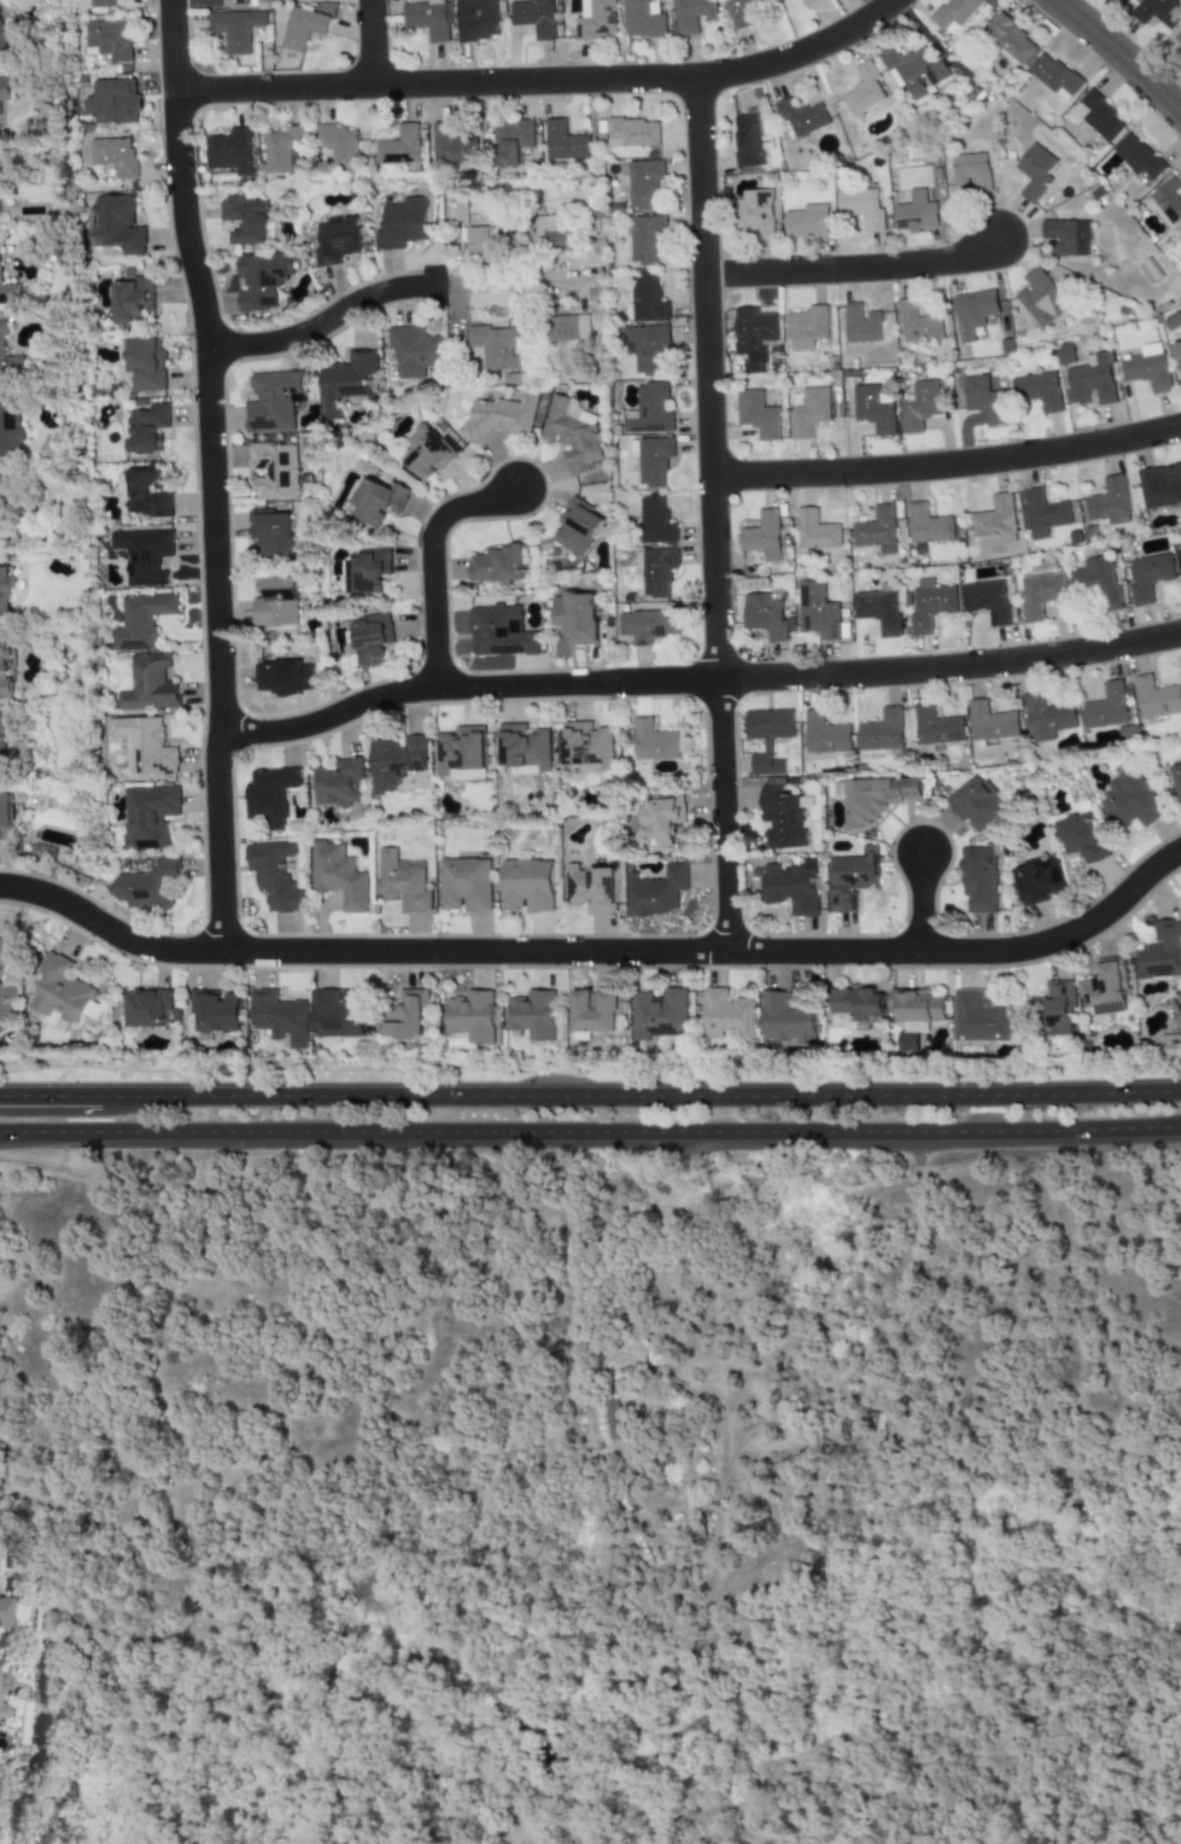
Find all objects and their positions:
building: (779, 0)
building: (233, 2)
building: (807, 2)
building: (100, 4)
building: (1156, 11)
building: (739, 12)
building: (954, 12)
building: (690, 16)
building: (534, 17)
building: (429, 18)
building: (477, 19)
building: (641, 19)
building: (596, 21)
building: (303, 28)
building: (235, 29)
building: (1177, 36)
building: (4, 40)
building: (107, 40)
building: (1011, 40)
road: (369, 42)
road: (1111, 64)
building: (912, 69)
building: (1053, 75)
road: (542, 81)
building: (5, 88)
building: (865, 89)
building: (113, 103)
building: (1097, 117)
building: (800, 118)
building: (632, 133)
building: (0, 134)
building: (510, 141)
building: (565, 141)
building: (747, 141)
building: (451, 144)
building: (340, 146)
building: (399, 147)
building: (281, 148)
building: (230, 151)
building: (113, 156)
building: (1136, 157)
building: (971, 171)
building: (1035, 171)
building: (643, 185)
building: (1169, 199)
building: (863, 208)
building: (456, 210)
building: (754, 212)
building: (916, 217)
building: (244, 218)
building: (807, 221)
building: (402, 223)
building: (115, 224)
building: (551, 234)
building: (1066, 237)
building: (645, 238)
building: (337, 241)
building: (479, 243)
road: (853, 268)
building: (262, 279)
road: (391, 290)
building: (10, 293)
building: (1040, 298)
building: (131, 299)
building: (648, 299)
building: (972, 313)
building: (1173, 321)
building: (861, 323)
building: (918, 325)
building: (806, 327)
building: (567, 328)
building: (753, 331)
building: (496, 346)
building: (645, 348)
building: (415, 351)
building: (1177, 356)
building: (8, 361)
building: (145, 364)
building: (1147, 368)
building: (345, 380)
building: (1091, 381)
building: (1037, 391)
building: (983, 399)
building: (271, 402)
building: (919, 405)
building: (873, 409)
building: (649, 410)
building: (808, 413)
building: (756, 415)
building: (10, 427)
building: (145, 428)
building: (571, 433)
building: (48, 447)
building: (426, 453)
building: (653, 460)
road: (947, 467)
building: (274, 469)
road: (207, 475)
building: (1160, 486)
building: (142, 494)
building: (376, 501)
building: (1109, 502)
building: (1, 508)
building: (1041, 514)
road: (712, 517)
building: (655, 520)
building: (995, 520)
building: (928, 525)
building: (575, 527)
building: (877, 530)
building: (815, 531)
building: (270, 533)
building: (762, 536)
building: (144, 556)
building: (1179, 559)
road: (429, 561)
building: (497, 565)
building: (370, 571)
building: (657, 571)
building: (1147, 577)
building: (1097, 582)
building: (756, 584)
building: (5, 590)
building: (1039, 595)
building: (987, 597)
building: (276, 602)
building: (930, 605)
building: (877, 611)
building: (765, 615)
building: (577, 617)
building: (140, 622)
building: (649, 626)
building: (499, 631)
building: (372, 640)
building: (2, 665)
building: (283, 677)
building: (148, 684)
road: (695, 684)
building: (1156, 699)
building: (1105, 707)
building: (1046, 718)
building: (990, 723)
building: (936, 726)
building: (881, 731)
building: (824, 735)
building: (2, 736)
building: (767, 737)
building: (653, 741)
building: (145, 746)
building: (586, 746)
building: (524, 749)
building: (462, 754)
building: (394, 763)
building: (1176, 777)
building: (338, 782)
building: (269, 795)
building: (871, 798)
building: (1129, 801)
building: (976, 804)
building: (6, 813)
building: (147, 816)
building: (782, 818)
building: (661, 819)
building: (1081, 838)
building: (274, 876)
building: (338, 876)
building: (850, 879)
building: (978, 880)
building: (1040, 881)
building: (402, 882)
building: (467, 885)
building: (147, 886)
building: (528, 886)
building: (789, 887)
building: (591, 888)
building: (655, 891)
road: (918, 900)
building: (1160, 952)
building: (5, 956)
road: (598, 956)
building: (1106, 988)
building: (58, 994)
building: (858, 1005)
building: (1059, 1008)
building: (1175, 1008)
building: (146, 1009)
building: (215, 1011)
building: (594, 1013)
building: (338, 1014)
building: (916, 1014)
building: (534, 1015)
building: (660, 1015)
building: (405, 1016)
building: (729, 1016)
building: (473, 1017)
building: (279, 1019)
building: (980, 1019)
building: (785, 1020)
road: (590, 1091)
road: (81, 1109)
road: (590, 1145)
road: (51, 1166)
road: (700, 1291)
road: (724, 1402)
building: (613, 1419)
building: (876, 1420)
building: (691, 1528)
building: (4, 1613)
building: (0, 1711)

